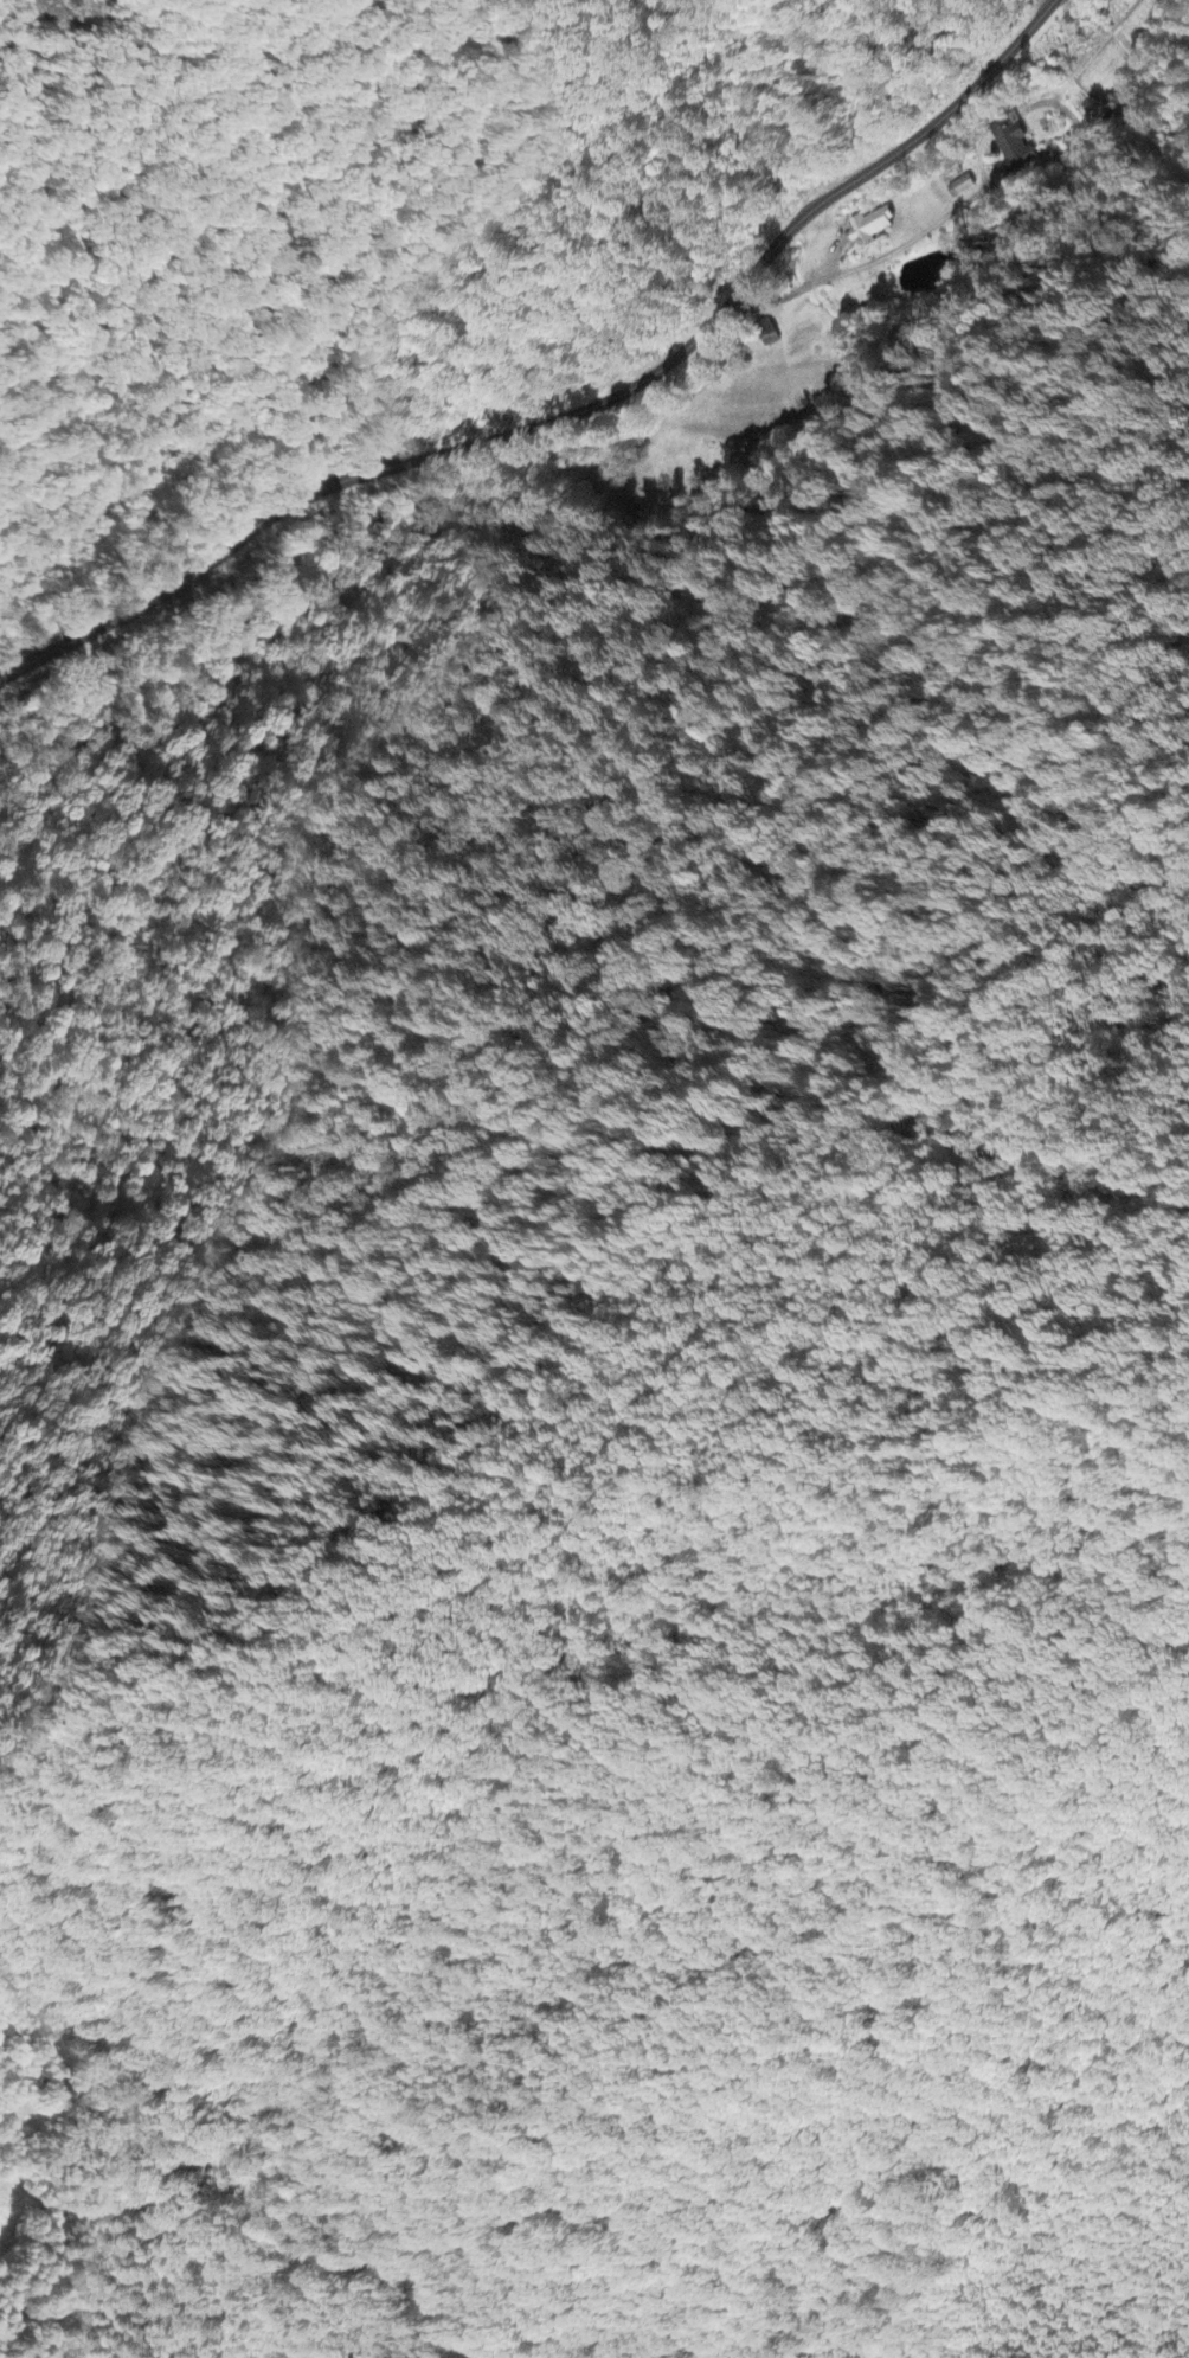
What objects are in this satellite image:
building: (1016, 147)
road: (976, 160)
road: (939, 220)
building: (872, 228)
road: (833, 257)
road: (573, 412)

